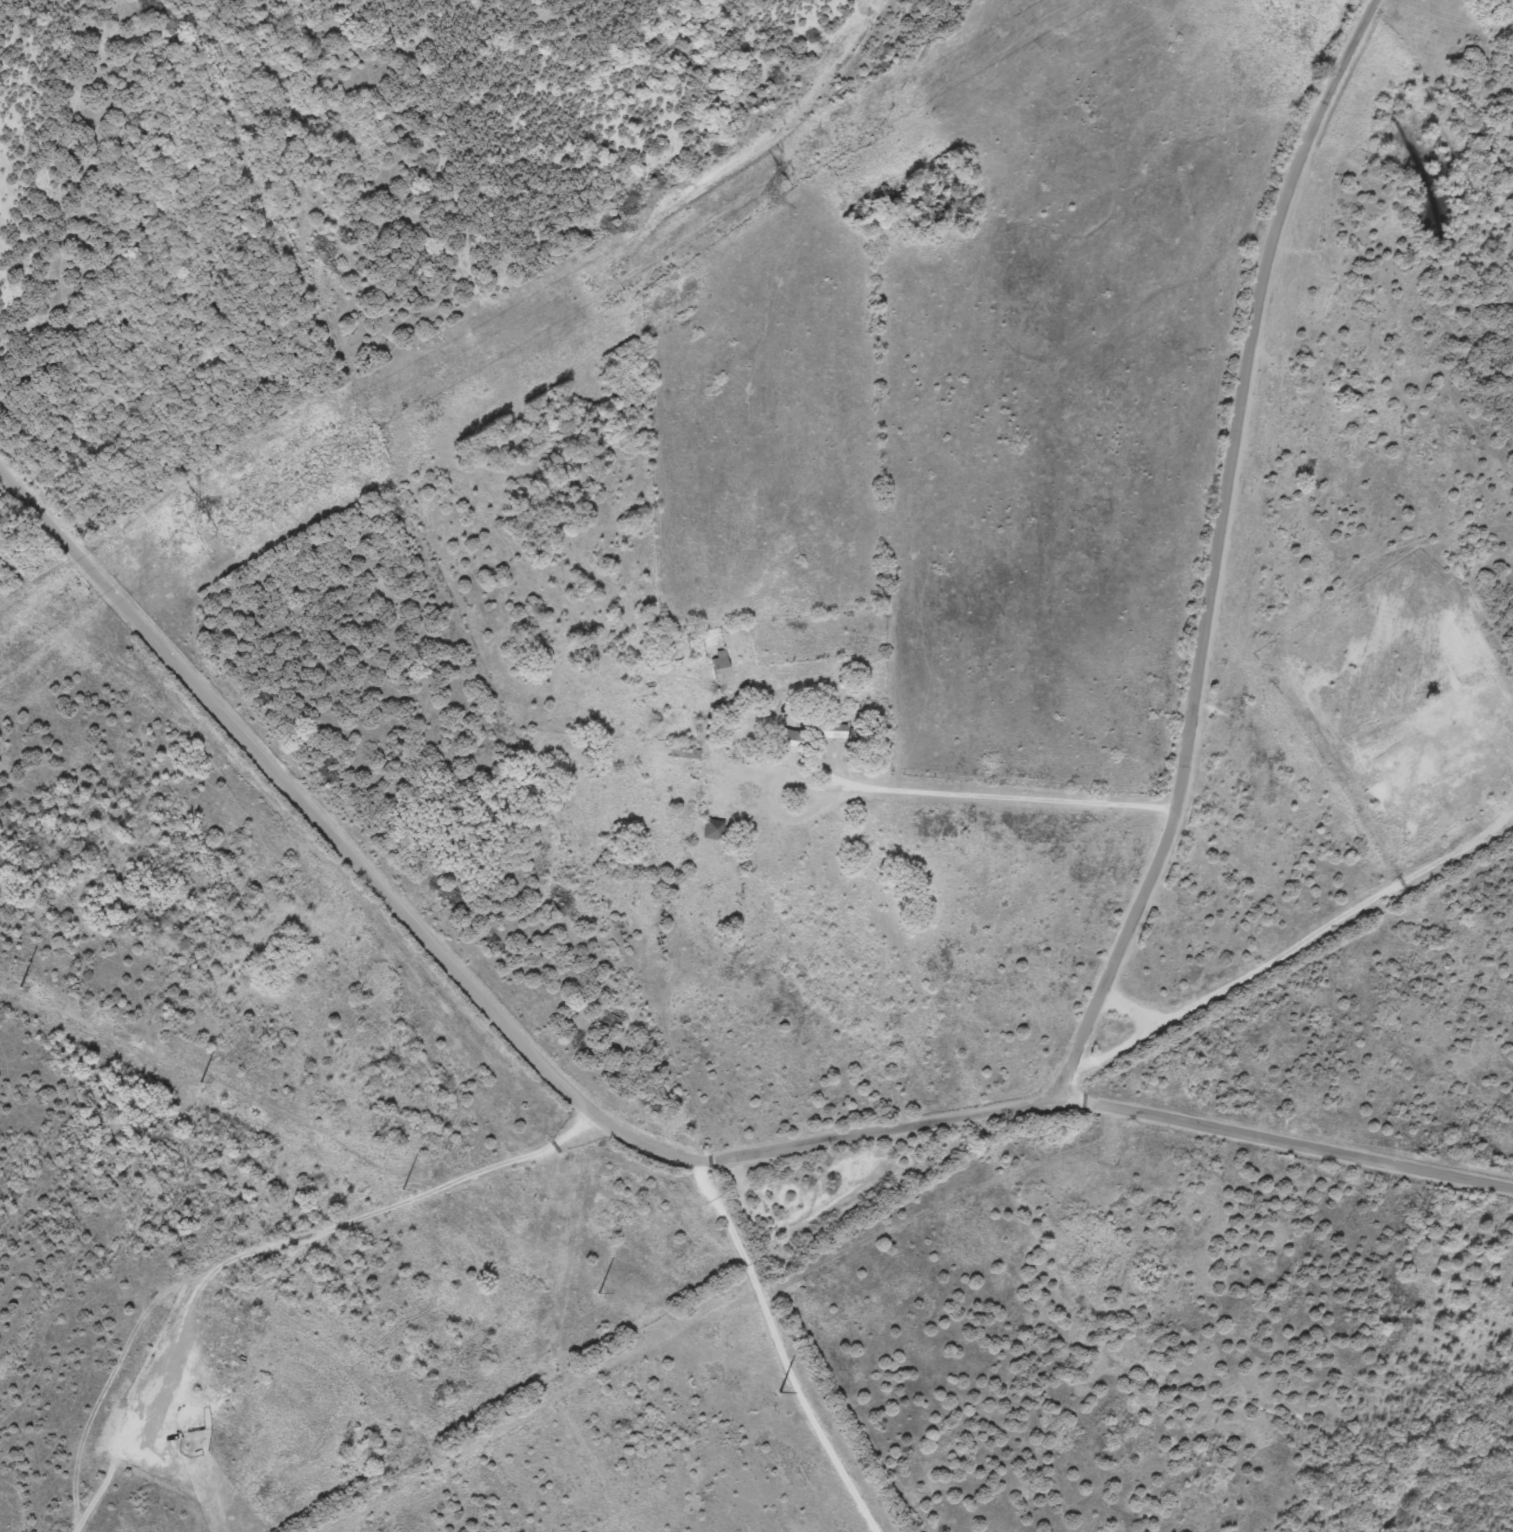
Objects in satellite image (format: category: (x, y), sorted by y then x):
power tower: (771, 201)
road: (399, 433)
power tower: (190, 538)
road: (1221, 552)
building: (723, 667)
building: (838, 731)
building: (799, 742)
road: (1012, 800)
road: (299, 807)
building: (716, 830)
road: (1057, 1103)
road: (453, 1190)
road: (222, 1390)

